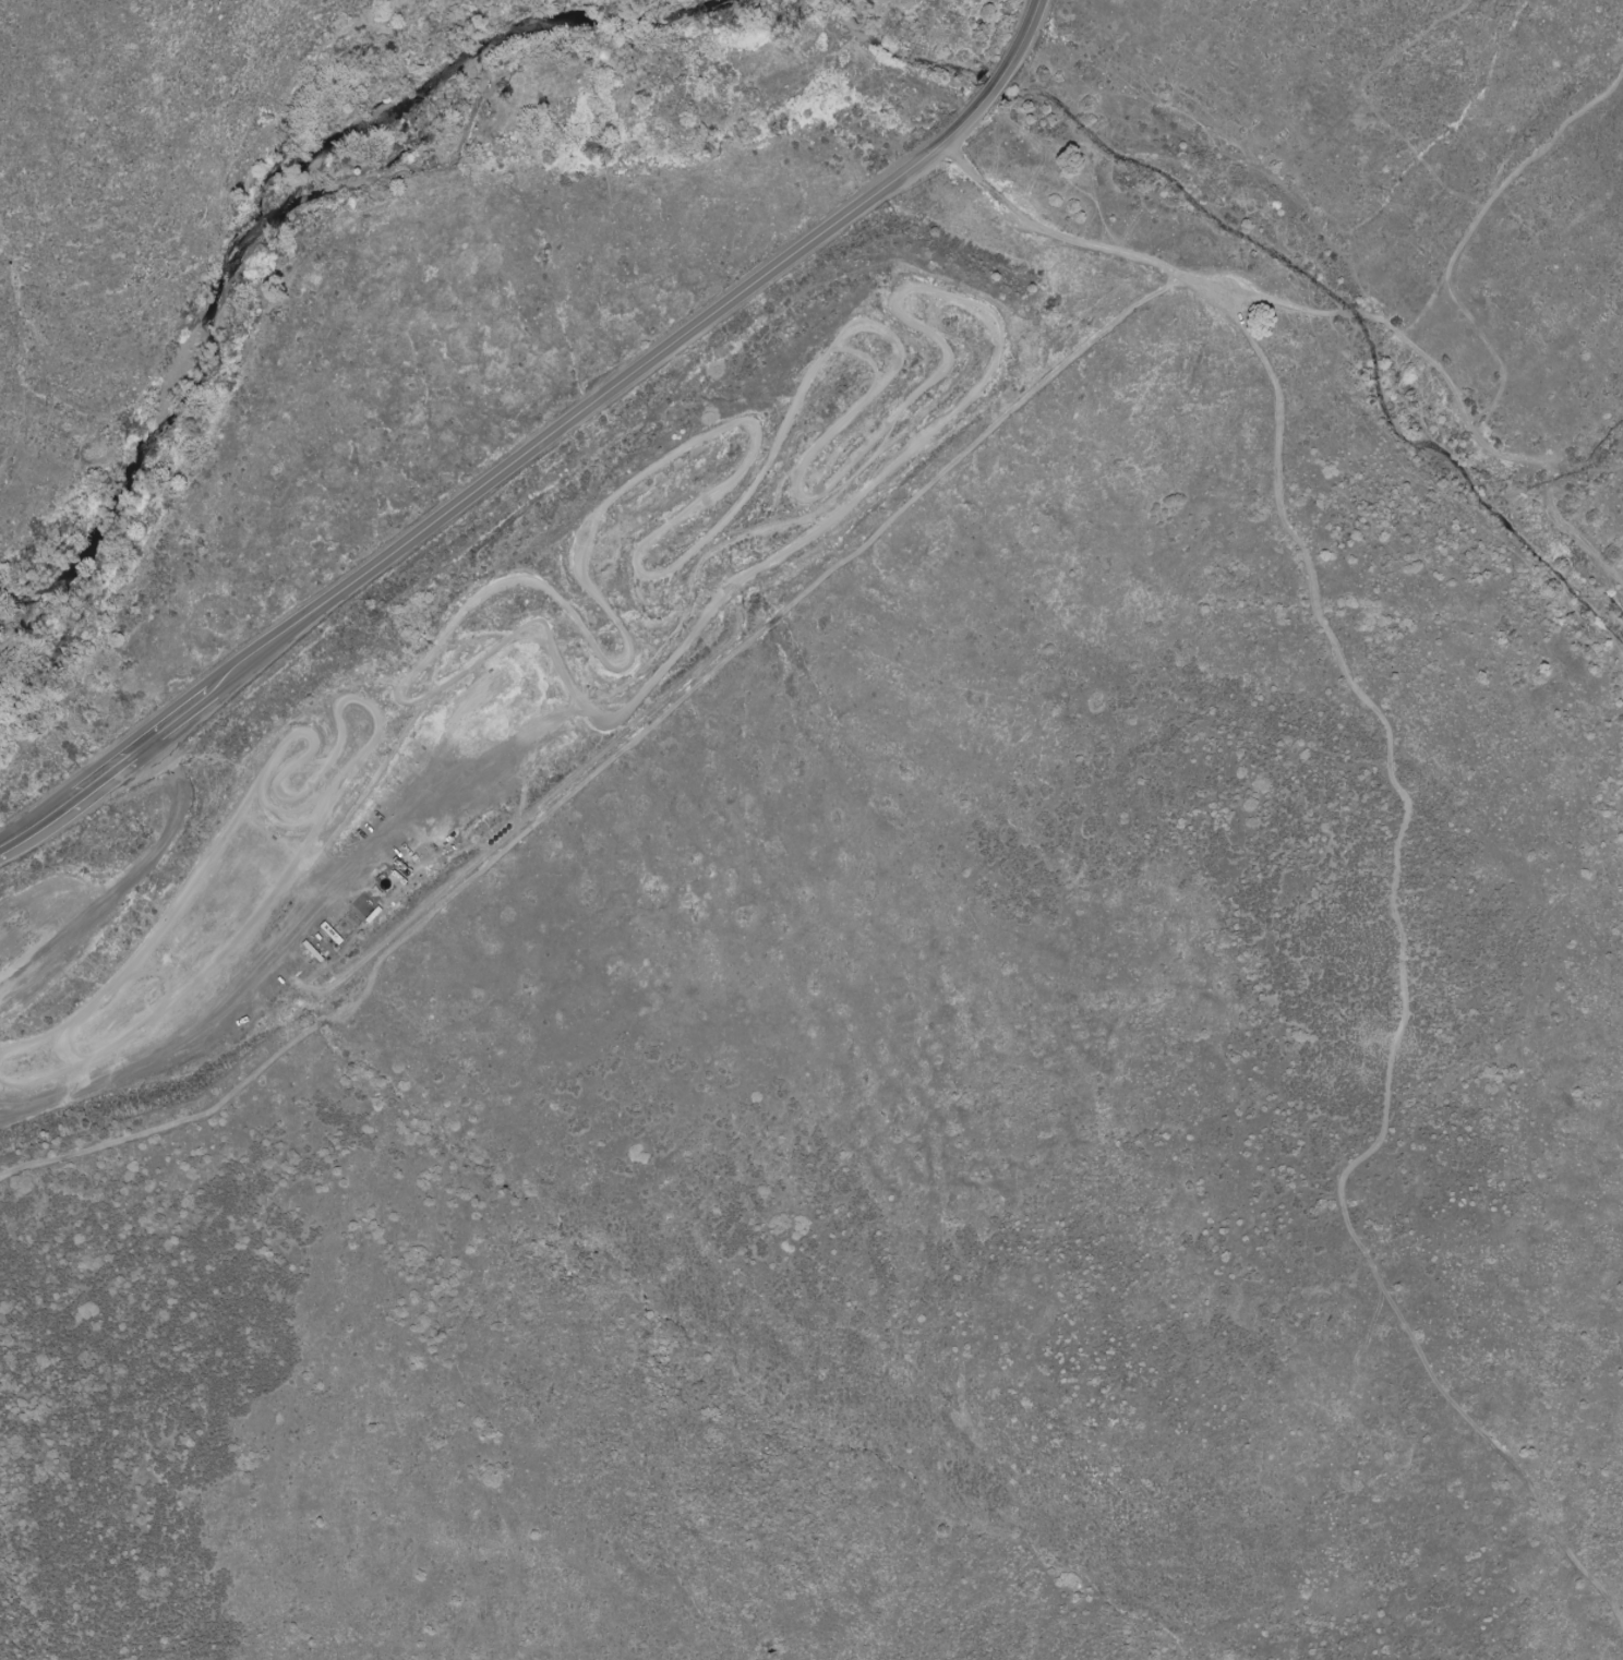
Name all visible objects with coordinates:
road: (544, 447)
road: (1392, 843)

